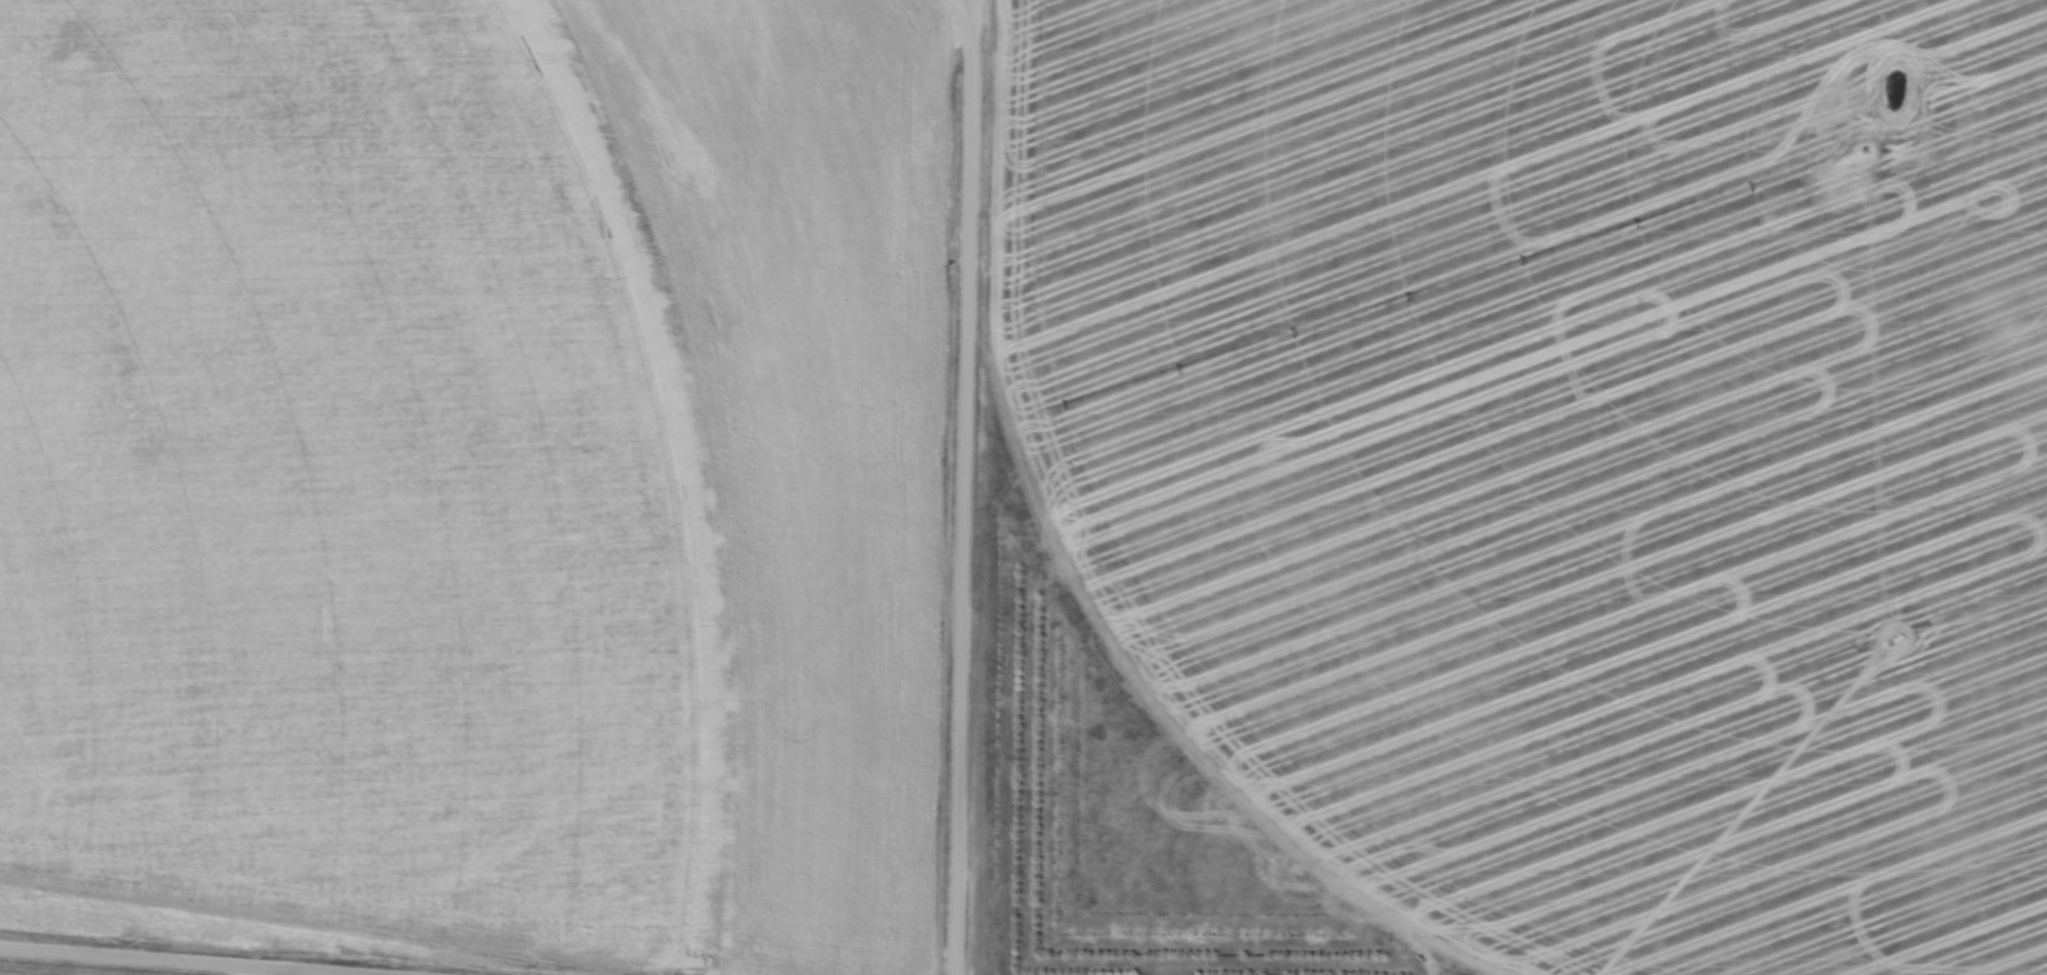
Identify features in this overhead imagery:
road: (969, 5)
road: (967, 489)
road: (170, 962)

